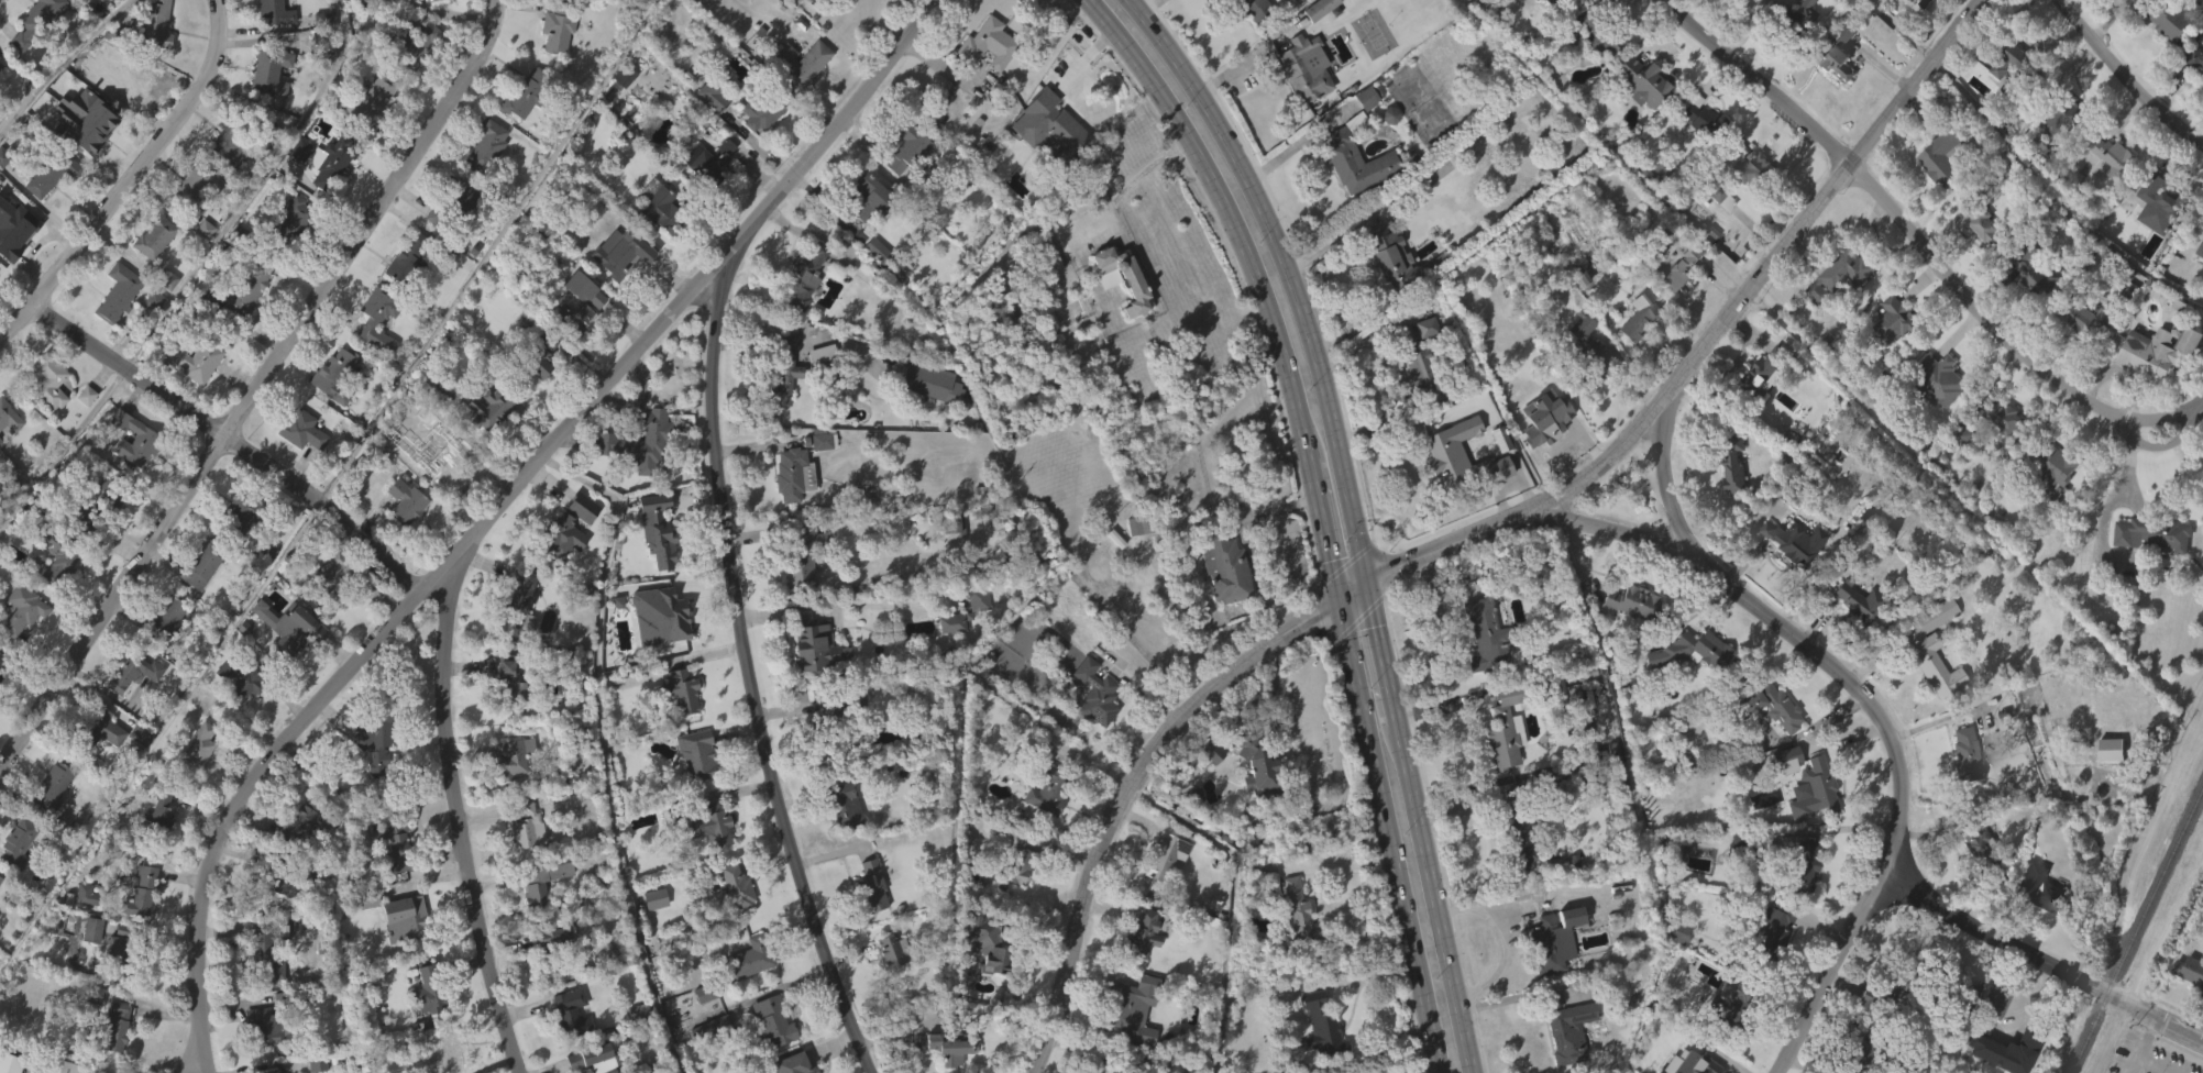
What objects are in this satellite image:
building: (109, 0)
building: (1505, 0)
building: (1742, 0)
building: (249, 1)
building: (373, 1)
building: (1881, 1)
building: (1553, 2)
building: (546, 3)
road: (1148, 3)
building: (125, 4)
building: (2105, 5)
building: (69, 7)
building: (1249, 8)
building: (1315, 9)
building: (1802, 11)
building: (277, 12)
building: (1729, 15)
building: (427, 18)
building: (2161, 20)
building: (37, 21)
building: (156, 24)
building: (1540, 24)
building: (560, 25)
building: (364, 29)
road: (1901, 29)
building: (1596, 33)
building: (271, 38)
building: (1320, 38)
building: (417, 45)
building: (989, 45)
building: (1792, 52)
building: (34, 53)
building: (319, 55)
building: (2167, 55)
road: (1246, 57)
building: (2194, 58)
building: (152, 59)
building: (1838, 60)
road: (58, 62)
building: (802, 62)
building: (0, 63)
building: (552, 67)
building: (2013, 67)
road: (1072, 68)
building: (271, 71)
building: (1594, 71)
building: (2202, 73)
building: (118, 74)
building: (2202, 78)
road: (2122, 79)
building: (982, 80)
building: (412, 84)
building: (1642, 84)
building: (712, 91)
building: (1832, 91)
building: (529, 95)
building: (1365, 97)
building: (798, 98)
building: (2194, 98)
building: (372, 100)
building: (2004, 100)
building: (0, 101)
building: (1301, 104)
building: (266, 109)
building: (761, 110)
building: (113, 111)
building: (2067, 112)
building: (623, 113)
building: (87, 118)
building: (1639, 118)
building: (1697, 119)
building: (522, 129)
building: (1362, 134)
building: (366, 137)
building: (233, 140)
building: (35, 145)
building: (487, 146)
road: (1293, 146)
building: (758, 147)
building: (911, 150)
building: (1385, 151)
building: (88, 154)
building: (1697, 154)
building: (708, 156)
building: (1945, 156)
building: (2112, 157)
building: (2053, 163)
building: (1354, 164)
building: (1754, 168)
building: (1055, 172)
building: (51, 174)
road: (1134, 178)
road: (133, 179)
building: (482, 181)
building: (225, 184)
building: (297, 186)
building: (902, 186)
building: (196, 187)
building: (2110, 192)
building: (1939, 193)
building: (705, 197)
building: (327, 198)
building: (867, 199)
building: (1354, 200)
building: (452, 201)
building: (1655, 202)
building: (1753, 204)
building: (2161, 206)
road: (1231, 209)
building: (48, 210)
building: (194, 220)
road: (1896, 220)
building: (1979, 222)
building: (290, 226)
building: (869, 229)
building: (1716, 234)
building: (156, 236)
building: (456, 236)
building: (654, 241)
building: (2156, 242)
building: (853, 247)
building: (2202, 251)
building: (290, 255)
building: (624, 255)
building: (1387, 256)
building: (407, 258)
building: (201, 265)
building: (13, 266)
building: (2038, 269)
building: (151, 273)
road: (1289, 273)
building: (1677, 273)
building: (806, 276)
building: (1843, 276)
building: (1121, 278)
building: (870, 285)
building: (2200, 286)
building: (616, 288)
building: (407, 289)
building: (1043, 290)
building: (120, 291)
building: (246, 291)
building: (1386, 292)
road: (451, 297)
building: (1678, 305)
building: (581, 310)
building: (995, 310)
building: (1576, 311)
building: (1837, 311)
building: (2034, 311)
building: (800, 313)
building: (1116, 313)
building: (1643, 314)
building: (164, 317)
building: (2085, 317)
building: (378, 318)
building: (1895, 321)
building: (1425, 325)
building: (243, 327)
building: (2125, 327)
building: (113, 329)
building: (151, 335)
building: (203, 335)
road: (1711, 335)
building: (577, 344)
building: (2161, 349)
building: (544, 352)
building: (1590, 353)
building: (1638, 353)
building: (2082, 353)
building: (373, 356)
building: (1892, 357)
building: (196, 358)
building: (1416, 361)
building: (1762, 372)
building: (334, 374)
building: (2185, 377)
building: (1940, 378)
building: (1586, 379)
building: (49, 380)
building: (784, 381)
road: (256, 388)
building: (817, 389)
building: (2146, 389)
building: (190, 397)
building: (535, 398)
building: (1412, 399)
building: (489, 406)
building: (331, 411)
building: (1758, 411)
building: (43, 416)
building: (1544, 416)
building: (1936, 416)
building: (2002, 416)
road: (2174, 416)
building: (9, 417)
building: (927, 419)
building: (437, 429)
building: (304, 430)
building: (82, 431)
building: (1961, 434)
road: (228, 438)
building: (824, 438)
building: (642, 439)
building: (135, 440)
road: (554, 442)
building: (0, 443)
building: (484, 444)
road: (62, 445)
building: (1443, 451)
building: (1998, 453)
building: (1540, 454)
building: (453, 457)
building: (2053, 464)
building: (1732, 465)
building: (298, 466)
building: (791, 474)
road: (2126, 475)
building: (131, 476)
building: (636, 477)
building: (816, 477)
road: (1668, 477)
building: (1442, 488)
building: (447, 495)
building: (1729, 498)
building: (406, 500)
building: (2053, 500)
building: (101, 504)
building: (242, 510)
building: (785, 510)
building: (803, 512)
road: (1322, 521)
building: (955, 526)
building: (659, 528)
building: (2202, 528)
building: (560, 529)
building: (2151, 533)
building: (97, 535)
building: (401, 538)
building: (1793, 541)
building: (579, 543)
building: (235, 550)
building: (59, 555)
building: (803, 555)
traffic signals: (1330, 557)
building: (1133, 561)
building: (951, 562)
building: (1226, 562)
building: (202, 564)
building: (653, 566)
traffic signals: (1385, 566)
building: (2149, 571)
building: (560, 573)
building: (335, 576)
building: (1788, 577)
road: (1353, 586)
building: (264, 588)
building: (797, 590)
building: (56, 598)
building: (978, 598)
building: (1630, 600)
building: (1858, 601)
building: (196, 604)
building: (1220, 605)
building: (522, 607)
building: (21, 608)
traffic signals: (1314, 611)
building: (331, 612)
building: (166, 616)
traffic signals: (1376, 622)
building: (297, 630)
building: (1485, 633)
building: (973, 634)
building: (1852, 637)
building: (517, 638)
building: (1627, 638)
road: (1330, 642)
building: (817, 646)
building: (165, 650)
road: (1381, 650)
building: (1689, 650)
building: (947, 659)
building: (4, 662)
building: (286, 663)
road: (749, 665)
building: (1484, 668)
building: (1932, 668)
building: (134, 672)
building: (242, 677)
building: (509, 679)
building: (812, 679)
building: (1684, 686)
building: (2, 690)
building: (681, 690)
building: (1099, 693)
building: (1927, 697)
road: (1869, 704)
building: (1770, 705)
building: (119, 714)
building: (506, 714)
building: (233, 715)
building: (834, 717)
building: (1503, 726)
building: (679, 727)
building: (98, 729)
building: (1091, 729)
building: (1568, 730)
building: (375, 740)
building: (836, 740)
building: (201, 743)
road: (592, 751)
building: (1789, 751)
building: (1963, 753)
building: (515, 755)
building: (698, 755)
building: (97, 765)
building: (1499, 765)
building: (1260, 767)
building: (136, 770)
building: (370, 779)
building: (196, 781)
building: (2107, 785)
building: (53, 787)
building: (1051, 787)
building: (1207, 787)
building: (1814, 787)
road: (1119, 789)
building: (1960, 790)
building: (509, 793)
building: (693, 793)
building: (1782, 796)
building: (1253, 803)
building: (846, 806)
building: (161, 810)
road: (456, 814)
building: (304, 821)
building: (47, 822)
building: (716, 823)
building: (527, 825)
building: (1042, 826)
building: (1809, 826)
building: (1192, 831)
road: (1394, 833)
building: (1519, 834)
building: (841, 840)
building: (394, 842)
building: (1740, 842)
building: (1978, 849)
building: (1161, 853)
building: (152, 855)
building: (297, 858)
building: (522, 860)
building: (711, 860)
building: (1022, 861)
road: (1343, 866)
building: (1798, 869)
building: (1, 878)
building: (280, 878)
building: (390, 878)
building: (1518, 878)
building: (546, 880)
building: (871, 885)
building: (1974, 886)
building: (2039, 887)
building: (1161, 888)
building: (142, 893)
building: (1015, 896)
road: (1232, 897)
road: (1434, 898)
building: (1798, 901)
building: (540, 915)
building: (404, 916)
building: (1301, 919)
building: (731, 920)
building: (279, 921)
building: (868, 922)
building: (2035, 923)
building: (90, 928)
building: (136, 928)
railway: (2135, 929)
building: (1145, 934)
building: (1767, 936)
building: (364, 937)
building: (1554, 938)
building: (987, 942)
building: (1293, 948)
building: (558, 949)
building: (892, 949)
building: (266, 952)
building: (399, 954)
road: (2034, 955)
building: (124, 956)
building: (750, 959)
building: (1767, 963)
building: (283, 964)
building: (2190, 970)
building: (91, 971)
building: (1138, 971)
building: (550, 972)
building: (1549, 975)
building: (981, 980)
building: (114, 984)
building: (1901, 984)
building: (886, 986)
road: (200, 987)
building: (427, 987)
building: (261, 991)
building: (747, 993)
building: (293, 997)
building: (1982, 998)
building: (1135, 1007)
building: (2187, 1007)
building: (1727, 1009)
building: (572, 1014)
building: (774, 1021)
building: (268, 1026)
building: (425, 1026)
building: (1877, 1026)
building: (112, 1027)
building: (701, 1028)
building: (1323, 1028)
building: (91, 1030)
building: (1566, 1032)
building: (1980, 1035)
building: (1728, 1039)
building: (1128, 1041)
building: (634, 1047)
building: (566, 1048)
building: (950, 1049)
road: (206, 1050)
building: (2004, 1050)
building: (1314, 1051)
building: (1860, 1052)
building: (444, 1054)
building: (767, 1054)
road: (2136, 1054)
building: (113, 1055)
building: (594, 1059)
building: (713, 1060)
building: (10, 1063)
building: (791, 1063)
road: (2132, 1063)
building: (1698, 1064)
building: (63, 1066)
building: (1113, 1066)
building: (271, 1071)
building: (948, 1071)
building: (1968, 1071)

